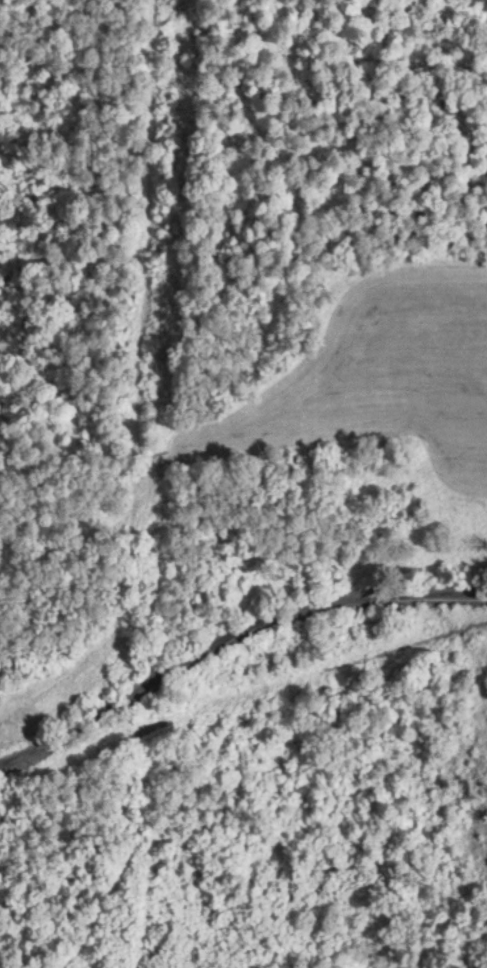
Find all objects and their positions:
road: (232, 627)

